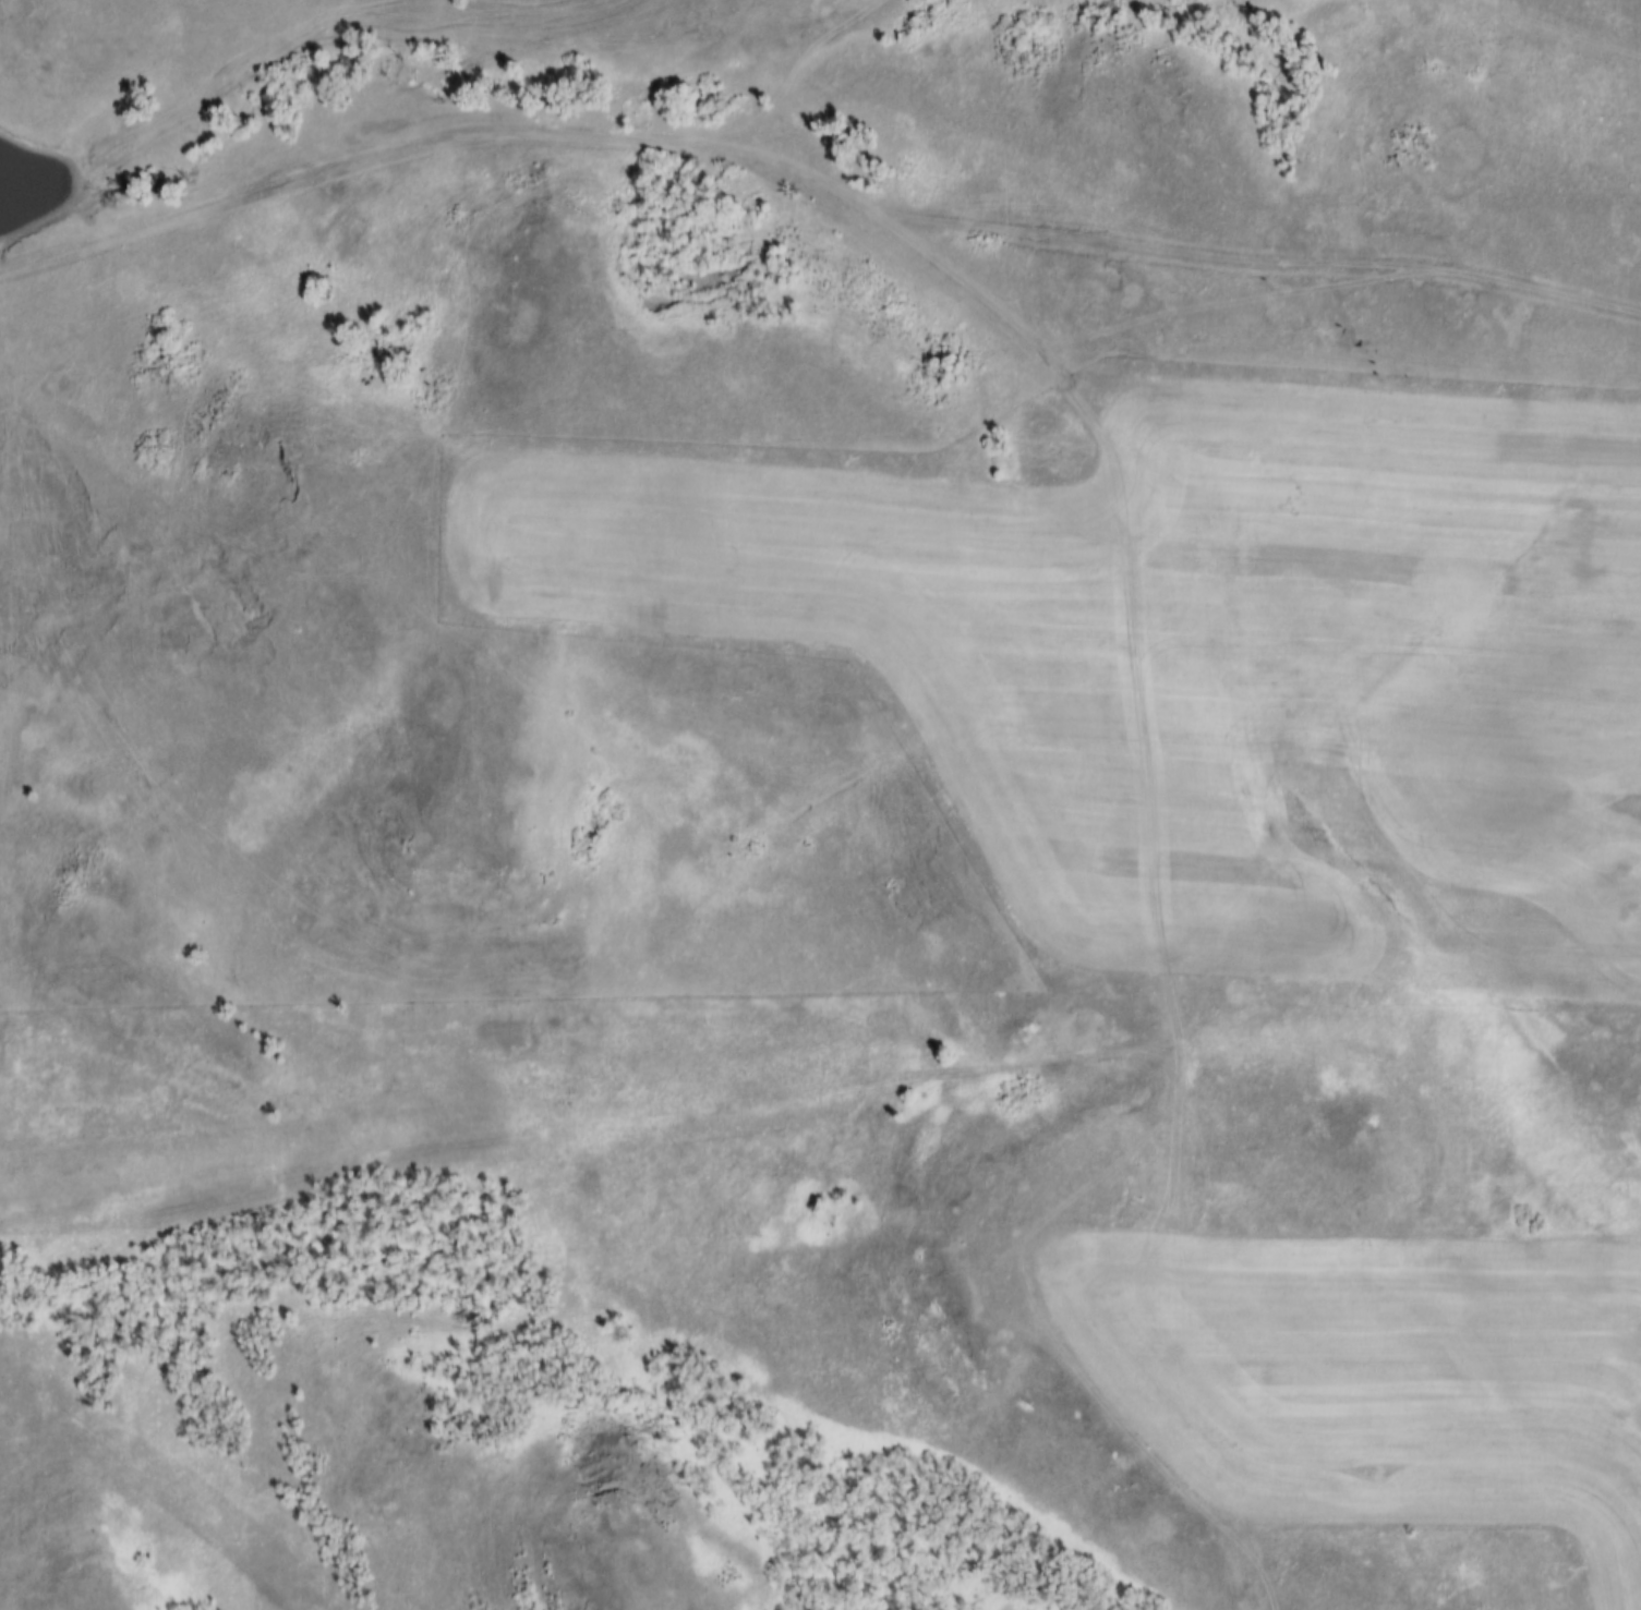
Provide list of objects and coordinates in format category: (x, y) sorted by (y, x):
road: (813, 187)

